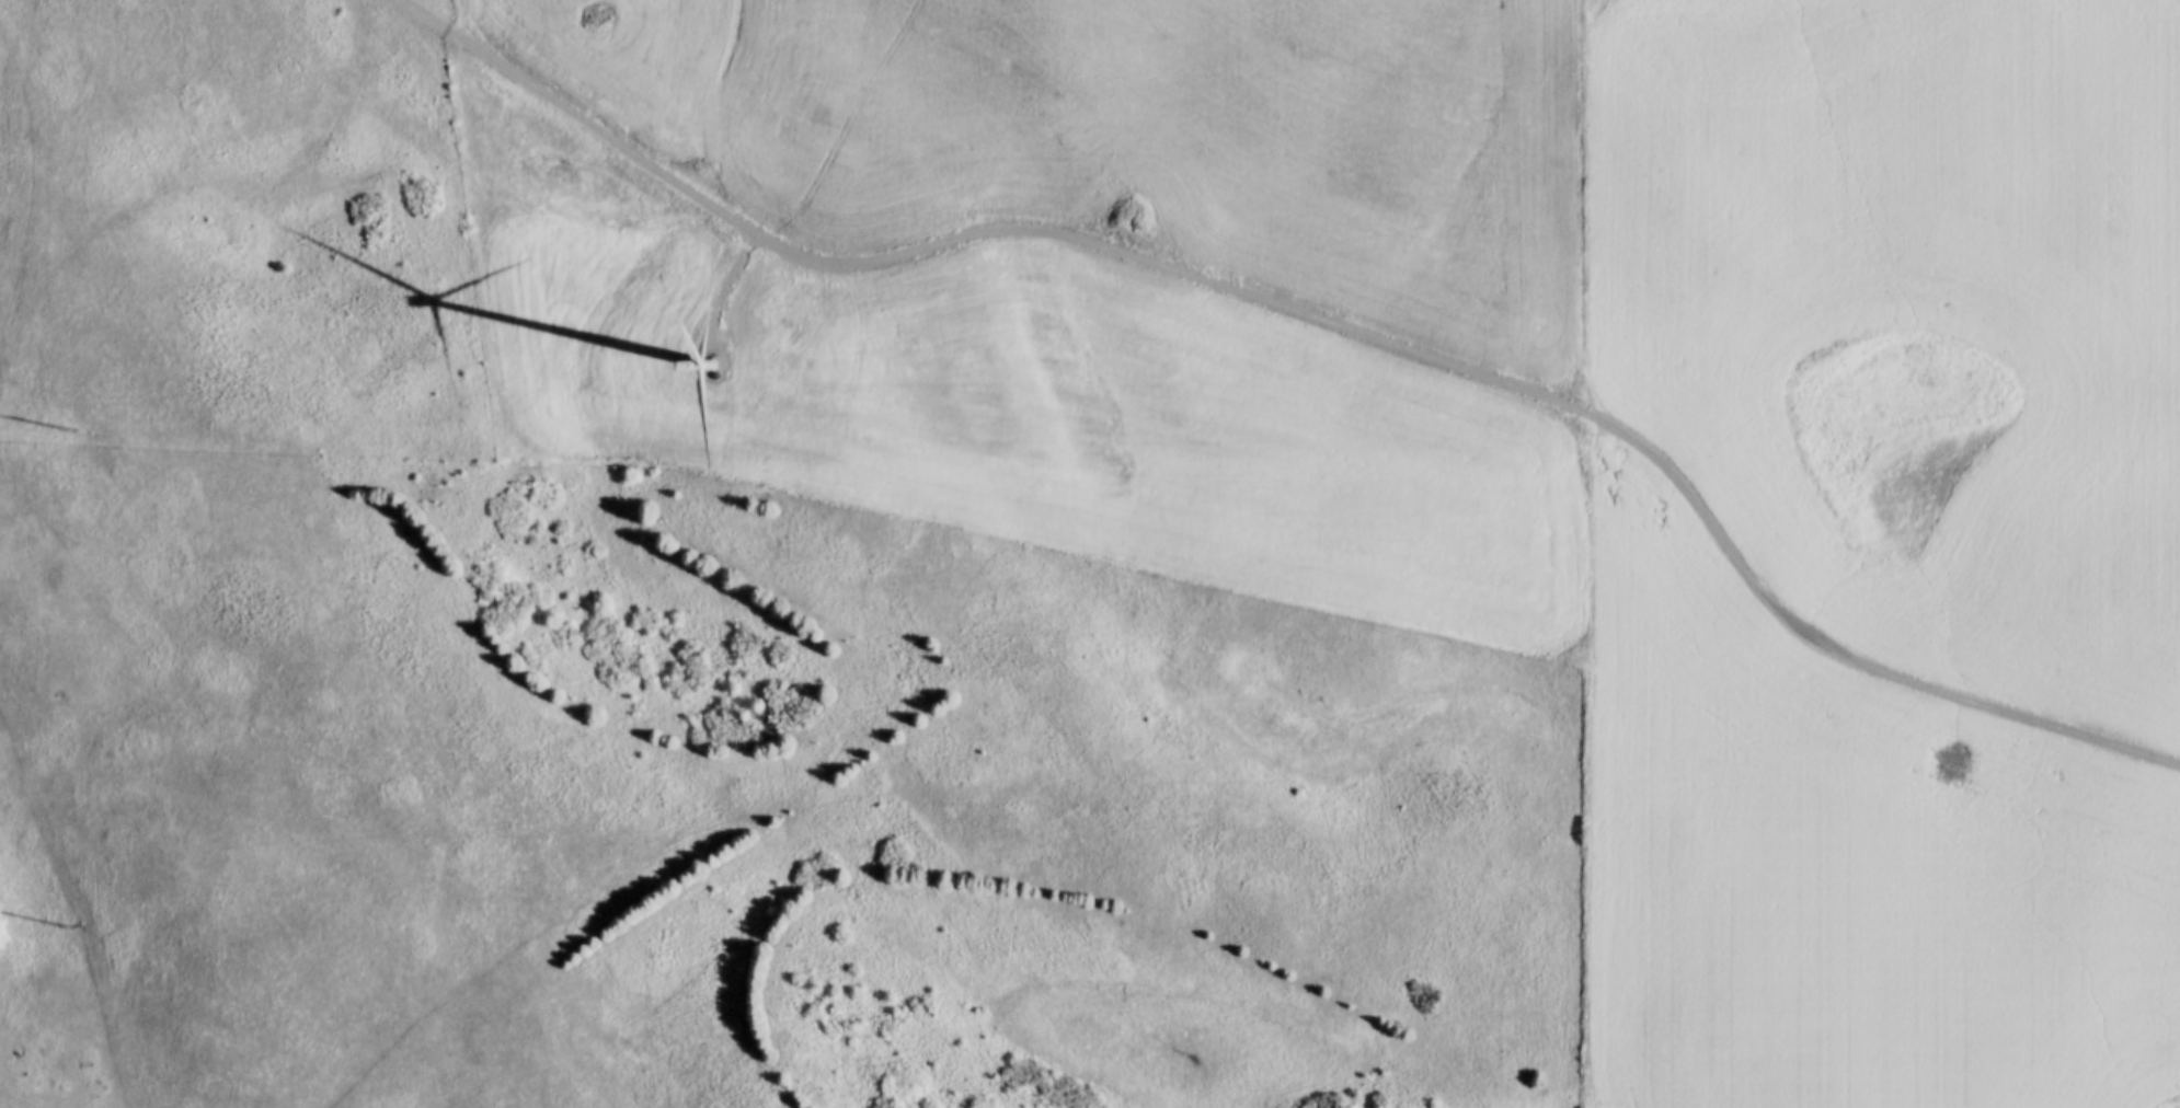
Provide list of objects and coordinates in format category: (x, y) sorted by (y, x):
road: (1309, 339)
wind turbine: (708, 367)

